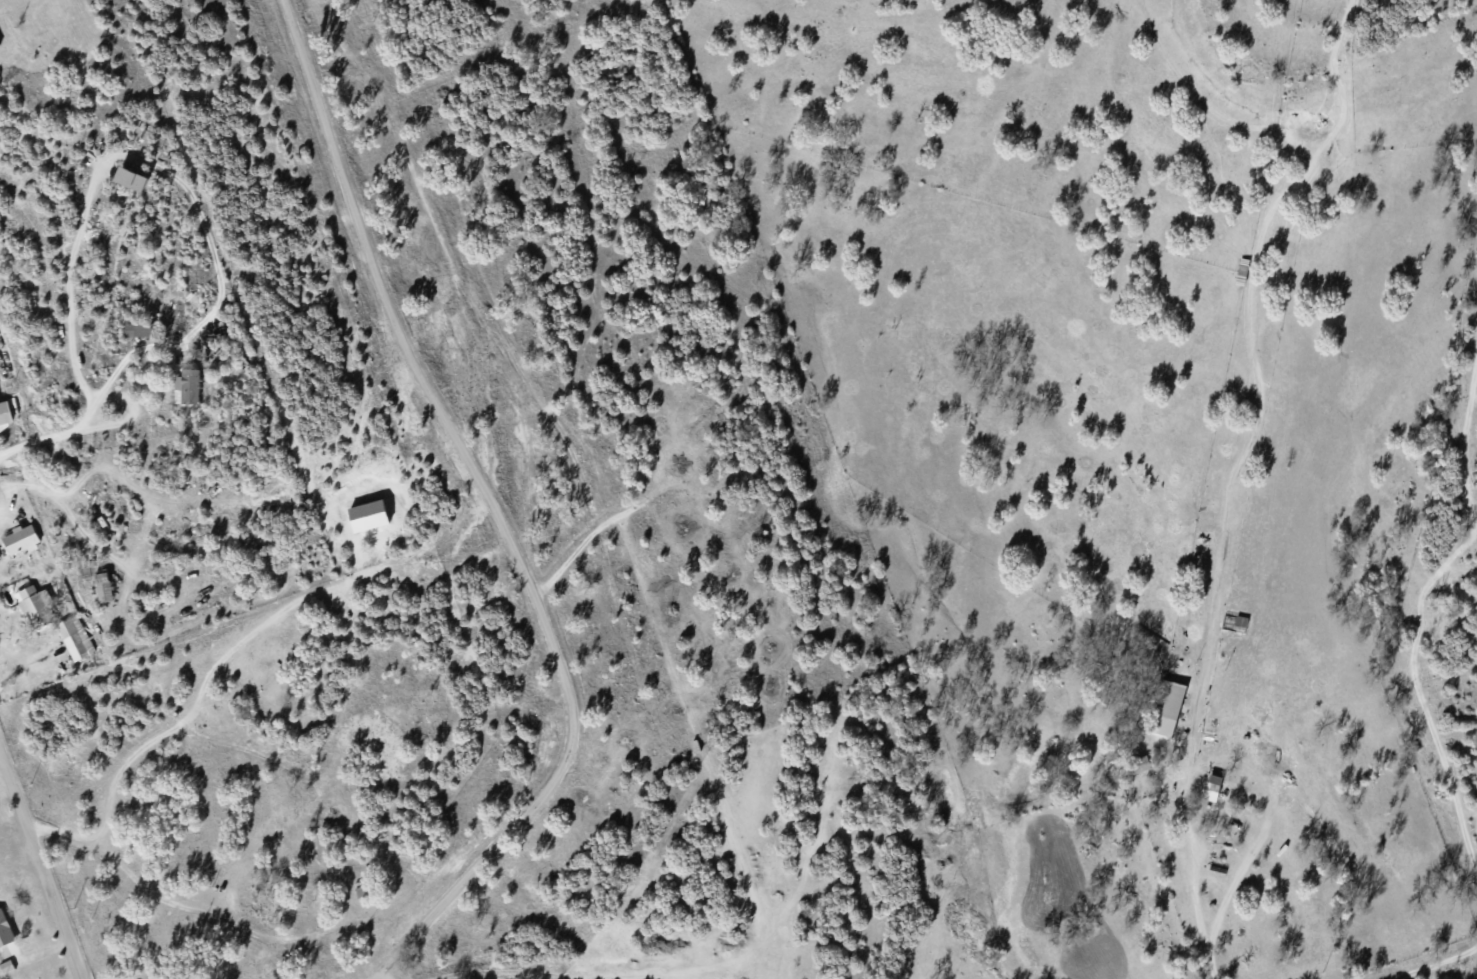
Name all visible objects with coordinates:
building: (0, 43)
road: (164, 171)
building: (134, 178)
building: (140, 329)
building: (188, 386)
building: (6, 416)
road: (128, 420)
road: (54, 439)
road: (8, 495)
road: (495, 512)
building: (370, 515)
building: (22, 539)
road: (90, 542)
building: (105, 585)
building: (38, 606)
building: (76, 637)
road: (25, 663)
building: (1169, 707)
road: (1226, 757)
building: (1214, 787)
road: (37, 865)
building: (5, 930)
building: (8, 966)
road: (1210, 967)

